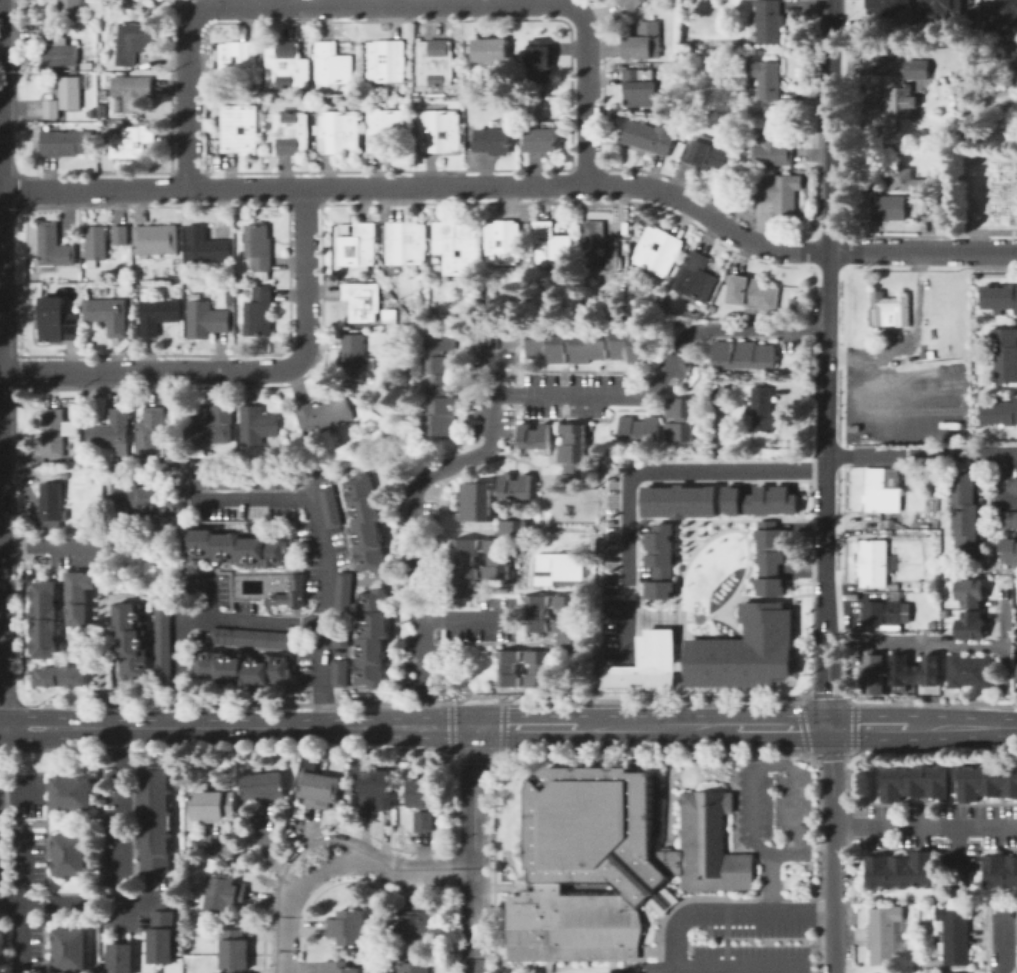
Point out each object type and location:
building: (158, 0)
building: (161, 0)
road: (385, 4)
building: (633, 4)
building: (70, 8)
building: (941, 8)
building: (998, 14)
building: (768, 21)
building: (53, 30)
building: (133, 41)
building: (645, 41)
building: (726, 41)
building: (491, 51)
building: (60, 54)
building: (540, 59)
building: (386, 61)
building: (239, 62)
building: (435, 63)
building: (286, 65)
building: (332, 65)
building: (917, 69)
building: (765, 81)
building: (469, 83)
building: (642, 87)
building: (133, 92)
building: (65, 97)
building: (901, 102)
building: (102, 109)
road: (844, 119)
building: (384, 128)
building: (239, 129)
building: (440, 130)
building: (339, 132)
building: (291, 133)
building: (650, 137)
building: (542, 139)
building: (133, 140)
building: (493, 141)
building: (67, 143)
building: (773, 149)
building: (707, 156)
building: (911, 179)
road: (516, 182)
park: (985, 186)
building: (780, 192)
building: (890, 208)
building: (924, 208)
building: (807, 210)
road: (828, 225)
road: (831, 227)
road: (815, 232)
road: (929, 235)
building: (121, 236)
building: (156, 240)
building: (502, 242)
building: (407, 243)
building: (96, 244)
building: (552, 245)
building: (205, 246)
building: (457, 246)
building: (53, 247)
building: (359, 247)
building: (259, 248)
building: (601, 250)
building: (658, 251)
road: (811, 251)
road: (842, 252)
road: (3, 258)
road: (815, 269)
road: (830, 275)
building: (697, 278)
building: (752, 294)
building: (228, 297)
building: (998, 297)
building: (362, 301)
building: (793, 303)
building: (889, 310)
building: (260, 312)
building: (108, 315)
building: (157, 315)
building: (54, 320)
building: (206, 320)
road: (913, 339)
building: (589, 348)
building: (1004, 354)
building: (744, 356)
building: (353, 359)
road: (663, 368)
road: (237, 370)
building: (442, 385)
building: (762, 410)
building: (998, 411)
building: (325, 415)
building: (680, 419)
building: (211, 425)
building: (257, 425)
building: (110, 430)
building: (640, 430)
building: (56, 432)
building: (151, 433)
building: (535, 437)
building: (575, 453)
road: (922, 453)
building: (78, 456)
road: (840, 457)
road: (639, 472)
building: (220, 481)
building: (274, 481)
road: (781, 481)
road: (731, 482)
road: (996, 483)
road: (655, 484)
road: (701, 484)
road: (768, 484)
building: (1013, 484)
building: (517, 488)
building: (881, 493)
building: (147, 499)
building: (757, 500)
building: (677, 501)
building: (478, 503)
building: (52, 505)
building: (331, 507)
road: (718, 507)
road: (410, 509)
building: (246, 513)
road: (784, 514)
building: (965, 514)
road: (728, 516)
road: (758, 516)
road: (666, 517)
road: (691, 517)
building: (1007, 518)
road: (724, 519)
building: (366, 522)
parking lot: (619, 528)
road: (703, 529)
road: (732, 529)
road: (746, 533)
road: (640, 537)
road: (691, 537)
road: (678, 538)
road: (686, 539)
road: (703, 539)
street lamp: (699, 543)
road: (54, 548)
building: (1007, 548)
building: (237, 549)
building: (503, 549)
road: (636, 549)
road: (642, 551)
road: (323, 553)
road: (681, 558)
building: (768, 558)
road: (3, 559)
building: (659, 561)
building: (871, 562)
building: (463, 569)
building: (560, 569)
road: (809, 572)
road: (797, 583)
road: (640, 587)
road: (745, 587)
road: (826, 590)
building: (344, 592)
road: (675, 592)
building: (970, 592)
building: (293, 593)
road: (617, 596)
road: (205, 597)
building: (82, 598)
road: (771, 598)
road: (769, 600)
road: (785, 603)
street lamp: (674, 606)
building: (538, 613)
building: (882, 613)
road: (5, 615)
building: (43, 618)
road: (217, 618)
road: (698, 618)
road: (464, 619)
road: (686, 620)
road: (730, 623)
building: (568, 626)
building: (971, 626)
road: (680, 633)
building: (341, 634)
building: (373, 638)
building: (255, 639)
building: (132, 641)
road: (943, 644)
building: (164, 645)
road: (612, 649)
building: (743, 650)
building: (645, 661)
building: (678, 665)
building: (510, 669)
building: (538, 669)
building: (243, 670)
building: (914, 671)
building: (969, 671)
building: (340, 673)
building: (1015, 673)
building: (58, 675)
building: (875, 677)
road: (810, 681)
road: (817, 694)
road: (800, 710)
road: (31, 714)
road: (0, 716)
road: (266, 726)
road: (524, 726)
road: (657, 726)
road: (784, 726)
road: (868, 726)
road: (962, 726)
road: (31, 738)
road: (798, 740)
road: (798, 781)
building: (913, 782)
building: (987, 782)
building: (263, 787)
building: (319, 789)
building: (376, 790)
road: (20, 793)
building: (422, 793)
building: (71, 794)
building: (212, 804)
building: (155, 818)
building: (423, 822)
road: (924, 824)
road: (120, 825)
road: (310, 845)
road: (473, 849)
road: (833, 849)
road: (957, 853)
building: (69, 854)
building: (613, 862)
road: (337, 864)
building: (899, 871)
building: (1000, 871)
building: (223, 893)
road: (22, 899)
road: (147, 903)
road: (45, 904)
road: (724, 917)
building: (885, 920)
building: (953, 920)
building: (413, 924)
building: (348, 927)
building: (161, 939)
road: (1005, 945)
road: (3, 948)
building: (68, 950)
building: (883, 950)
building: (233, 951)
building: (955, 951)
building: (120, 958)
building: (341, 967)
building: (415, 967)
road: (738, 967)
building: (942, 972)

